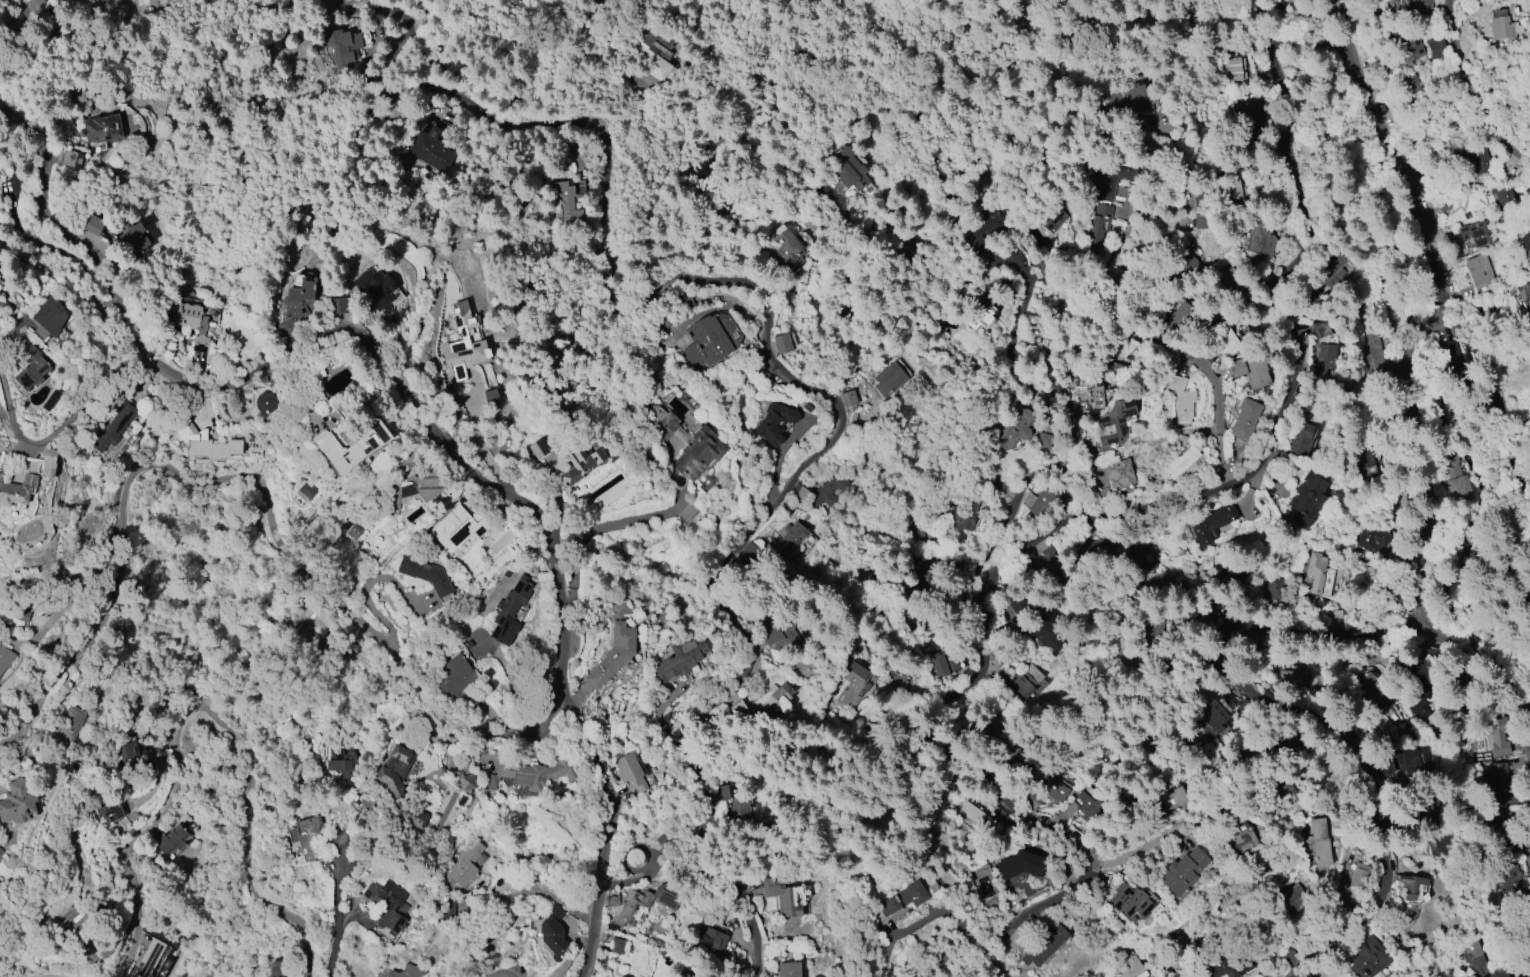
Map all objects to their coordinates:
building: (1415, 3)
road: (34, 15)
road: (1343, 23)
building: (1504, 27)
road: (1279, 29)
building: (1407, 43)
building: (342, 46)
building: (1435, 48)
building: (656, 54)
road: (1313, 57)
road: (1459, 65)
building: (1234, 69)
road: (515, 75)
building: (1132, 100)
road: (1381, 108)
building: (1251, 116)
building: (101, 128)
road: (1511, 144)
building: (431, 146)
building: (72, 159)
building: (1480, 162)
building: (848, 169)
building: (1109, 173)
road: (674, 183)
building: (1228, 189)
building: (1503, 195)
building: (1443, 203)
building: (566, 204)
building: (1052, 215)
building: (1099, 223)
building: (93, 224)
building: (989, 226)
road: (1168, 228)
building: (1478, 232)
building: (1258, 235)
building: (133, 239)
building: (1525, 242)
building: (789, 251)
building: (1192, 263)
building: (1479, 270)
building: (1330, 272)
building: (0, 287)
building: (375, 289)
road: (1280, 289)
building: (2, 306)
building: (297, 306)
building: (338, 306)
building: (979, 318)
building: (1179, 318)
building: (48, 319)
building: (189, 322)
road: (767, 327)
building: (1321, 329)
road: (1014, 331)
road: (1465, 333)
building: (705, 341)
building: (1224, 341)
building: (463, 342)
building: (782, 343)
road: (1160, 344)
building: (1451, 354)
building: (1376, 356)
building: (1324, 359)
road: (1438, 359)
building: (30, 366)
building: (1251, 368)
building: (888, 379)
building: (1090, 391)
building: (490, 397)
building: (847, 398)
building: (1181, 399)
building: (50, 400)
building: (264, 402)
road: (426, 417)
building: (1244, 418)
building: (774, 422)
building: (1112, 422)
building: (114, 426)
building: (1017, 426)
building: (1301, 439)
road: (45, 440)
building: (1043, 440)
building: (211, 447)
building: (353, 447)
building: (691, 448)
building: (538, 449)
building: (48, 462)
building: (1178, 463)
building: (1368, 463)
building: (582, 465)
building: (1119, 473)
building: (1458, 479)
building: (998, 481)
building: (828, 488)
building: (413, 489)
building: (17, 490)
building: (304, 490)
road: (264, 492)
building: (1046, 499)
building: (1307, 500)
building: (960, 515)
road: (599, 524)
building: (1211, 525)
building: (457, 528)
building: (353, 532)
building: (1372, 538)
building: (786, 539)
building: (1095, 549)
building: (1141, 557)
building: (1045, 559)
building: (1316, 571)
building: (1229, 575)
building: (428, 577)
road: (1217, 584)
road: (1424, 587)
building: (1279, 591)
road: (569, 601)
building: (1021, 606)
building: (509, 611)
building: (15, 618)
building: (1334, 619)
building: (297, 621)
building: (1223, 625)
building: (1042, 632)
building: (781, 635)
building: (613, 655)
building: (5, 658)
building: (680, 659)
building: (944, 662)
building: (453, 675)
building: (999, 677)
building: (1293, 679)
building: (1026, 681)
building: (853, 684)
building: (1374, 690)
building: (779, 691)
building: (766, 712)
road: (206, 713)
road: (949, 714)
building: (1213, 719)
road: (1330, 724)
building: (68, 725)
building: (137, 730)
building: (1409, 733)
building: (1496, 736)
building: (135, 756)
building: (1411, 762)
building: (343, 763)
building: (395, 769)
building: (629, 772)
building: (532, 773)
building: (1499, 777)
building: (461, 781)
building: (1277, 787)
building: (1048, 791)
building: (720, 792)
building: (1170, 799)
building: (18, 801)
building: (1082, 806)
building: (740, 807)
building: (111, 810)
building: (412, 816)
building: (979, 818)
building: (1497, 823)
building: (319, 833)
building: (1240, 838)
building: (171, 840)
building: (1314, 844)
road: (1139, 847)
building: (1, 851)
building: (634, 858)
building: (465, 863)
building: (1021, 865)
building: (1183, 872)
building: (1358, 876)
building: (932, 886)
building: (1412, 886)
building: (782, 896)
building: (903, 898)
building: (1290, 899)
building: (1130, 901)
building: (642, 903)
building: (388, 904)
building: (446, 909)
building: (69, 914)
road: (340, 920)
building: (552, 932)
building: (708, 939)
building: (1045, 945)
building: (618, 946)
building: (148, 958)
building: (1368, 959)
building: (1476, 959)
building: (1220, 967)
building: (277, 968)
building: (1131, 968)
building: (788, 969)
building: (406, 971)
road: (62, 975)
building: (684, 975)
building: (617, 976)
building: (622, 976)
building: (693, 976)

